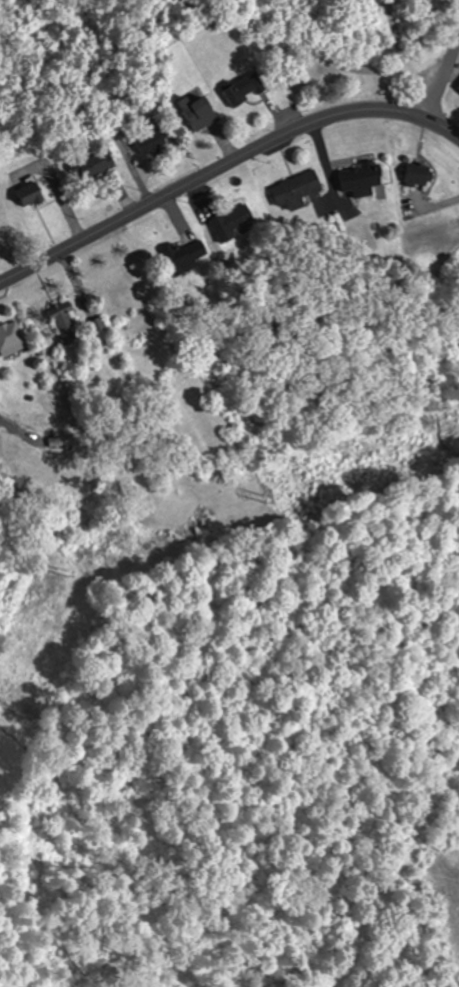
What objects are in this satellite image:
road: (443, 73)
building: (197, 113)
building: (150, 140)
road: (223, 163)
building: (90, 165)
building: (419, 172)
building: (360, 175)
building: (296, 188)
building: (30, 195)
building: (201, 241)
building: (62, 314)
building: (11, 338)

